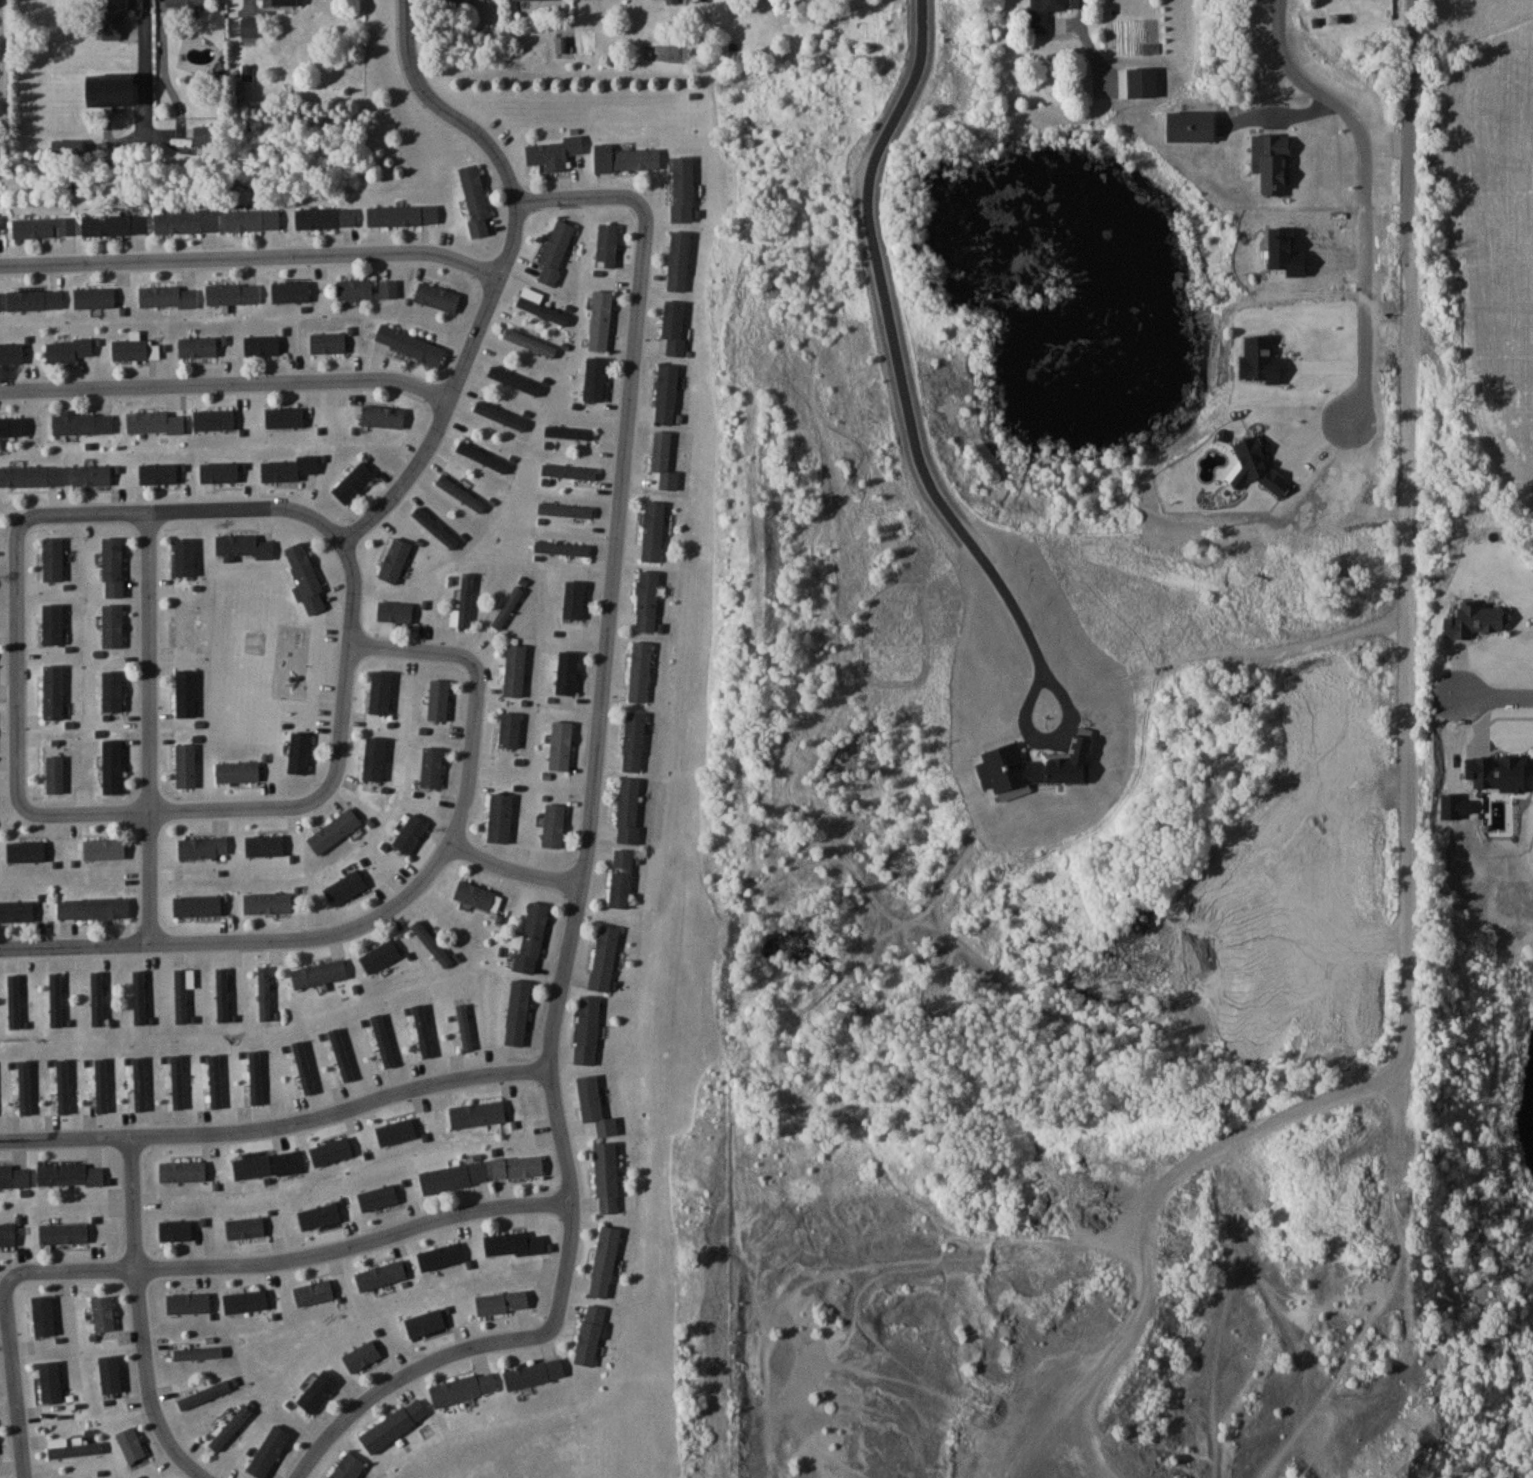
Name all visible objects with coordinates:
building: (465, 0)
building: (283, 2)
building: (187, 6)
building: (1045, 13)
building: (114, 19)
building: (249, 27)
road: (1081, 45)
road: (150, 84)
building: (116, 92)
building: (1166, 99)
road: (1286, 114)
building: (207, 135)
building: (553, 154)
building: (626, 158)
road: (500, 161)
building: (682, 189)
road: (1365, 191)
building: (475, 199)
building: (403, 215)
building: (325, 218)
building: (186, 221)
building: (252, 221)
building: (115, 224)
building: (0, 228)
building: (44, 228)
building: (607, 245)
building: (556, 251)
road: (250, 255)
building: (678, 260)
building: (367, 289)
building: (290, 292)
building: (232, 294)
building: (167, 296)
building: (437, 297)
building: (94, 298)
building: (34, 300)
building: (0, 302)
building: (542, 310)
building: (601, 320)
building: (674, 326)
building: (530, 342)
building: (328, 343)
building: (410, 344)
building: (262, 346)
building: (198, 347)
building: (132, 349)
building: (68, 350)
building: (11, 354)
road: (900, 366)
building: (595, 379)
building: (514, 380)
road: (225, 384)
road: (455, 385)
building: (666, 394)
building: (499, 415)
building: (382, 416)
building: (289, 418)
building: (214, 420)
building: (153, 421)
building: (82, 423)
building: (13, 427)
road: (1321, 428)
building: (568, 432)
building: (482, 456)
building: (569, 472)
building: (91, 475)
building: (32, 476)
building: (353, 482)
building: (460, 493)
road: (247, 510)
building: (565, 510)
building: (434, 527)
building: (653, 532)
building: (242, 547)
building: (561, 548)
building: (184, 557)
building: (52, 559)
building: (394, 560)
building: (112, 567)
building: (305, 580)
building: (574, 601)
building: (647, 601)
building: (463, 603)
building: (507, 607)
building: (395, 611)
building: (1472, 618)
building: (184, 622)
building: (111, 625)
road: (1251, 651)
building: (515, 669)
building: (641, 671)
building: (568, 672)
building: (52, 691)
building: (380, 691)
building: (110, 692)
building: (184, 692)
road: (1495, 696)
building: (438, 698)
road: (1407, 708)
road: (1510, 723)
building: (509, 728)
road: (147, 729)
building: (634, 740)
building: (561, 744)
building: (299, 752)
building: (184, 764)
building: (53, 765)
building: (111, 766)
building: (431, 766)
building: (238, 771)
building: (1493, 772)
road: (592, 784)
road: (99, 808)
building: (628, 810)
building: (500, 817)
building: (553, 825)
building: (334, 830)
building: (410, 832)
building: (264, 844)
building: (203, 846)
building: (104, 849)
building: (25, 850)
road: (514, 871)
building: (621, 878)
building: (342, 888)
building: (477, 895)
building: (267, 902)
building: (197, 905)
building: (92, 908)
road: (391, 908)
building: (20, 911)
building: (531, 937)
building: (431, 944)
building: (380, 956)
building: (604, 957)
building: (319, 973)
building: (263, 993)
building: (221, 994)
building: (96, 997)
building: (55, 999)
building: (13, 1001)
building: (180, 1004)
building: (517, 1012)
building: (464, 1026)
building: (587, 1029)
building: (253, 1080)
building: (213, 1081)
building: (174, 1084)
building: (22, 1090)
building: (61, 1092)
building: (137, 1092)
building: (476, 1113)
road: (277, 1124)
building: (518, 1165)
building: (252, 1167)
building: (182, 1171)
building: (70, 1174)
building: (454, 1175)
building: (14, 1176)
building: (607, 1177)
building: (245, 1228)
building: (175, 1230)
building: (8, 1234)
building: (506, 1242)
building: (440, 1255)
road: (288, 1258)
building: (605, 1260)
building: (381, 1275)
building: (313, 1293)
building: (503, 1301)
building: (103, 1313)
building: (594, 1313)
road: (140, 1316)
building: (587, 1342)
building: (196, 1353)
building: (362, 1356)
road: (401, 1372)
building: (534, 1373)
road: (11, 1378)
building: (49, 1383)
building: (463, 1388)
building: (317, 1391)
building: (204, 1394)
building: (394, 1425)
building: (230, 1430)
building: (77, 1448)
building: (347, 1467)

